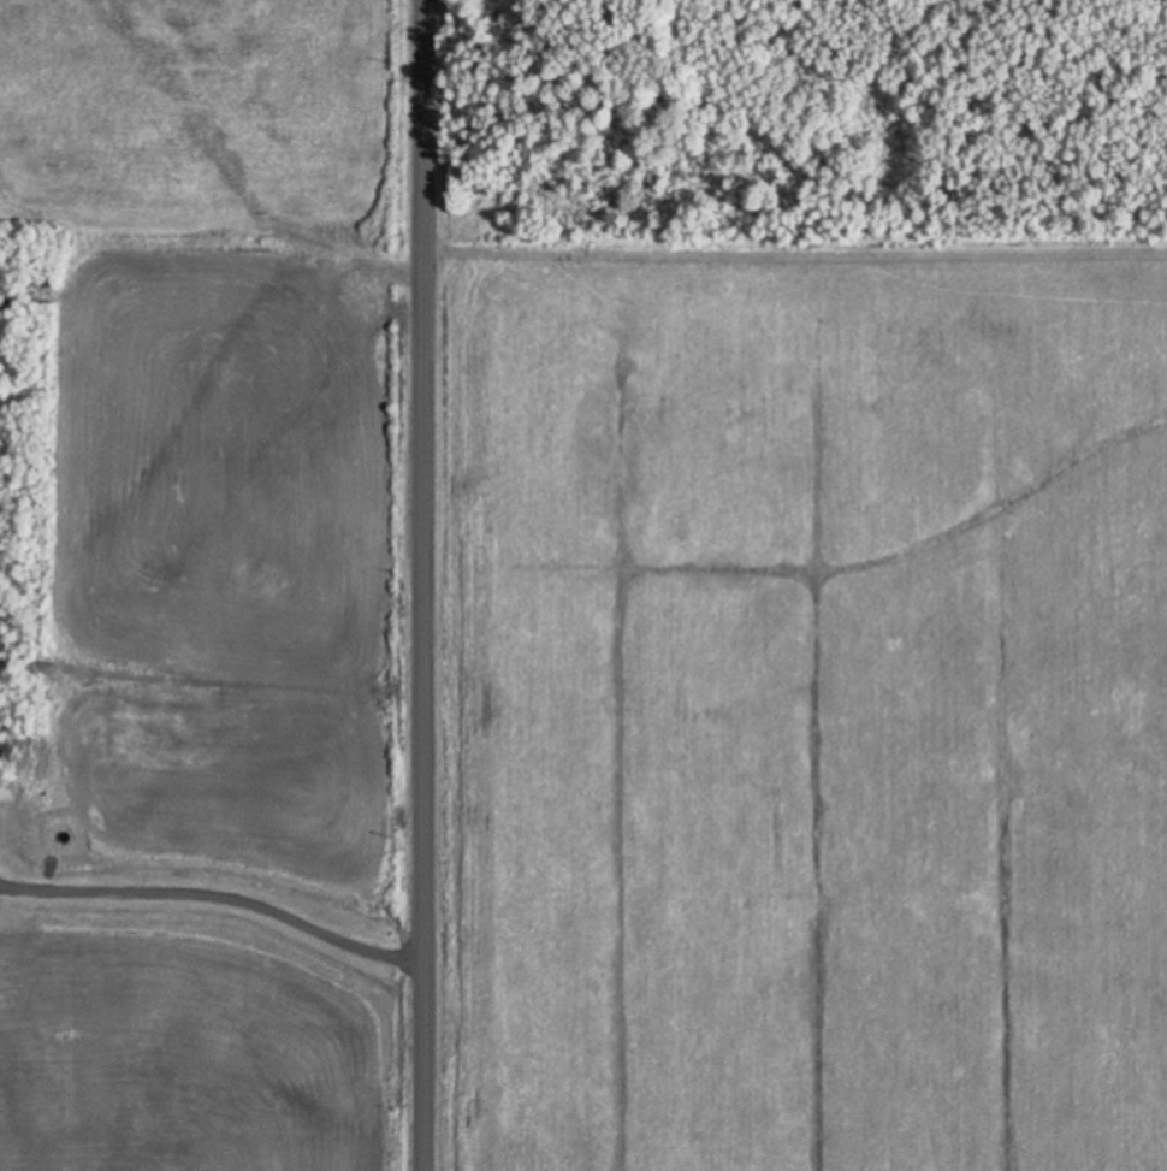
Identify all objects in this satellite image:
road: (421, 585)
crop: (800, 704)

